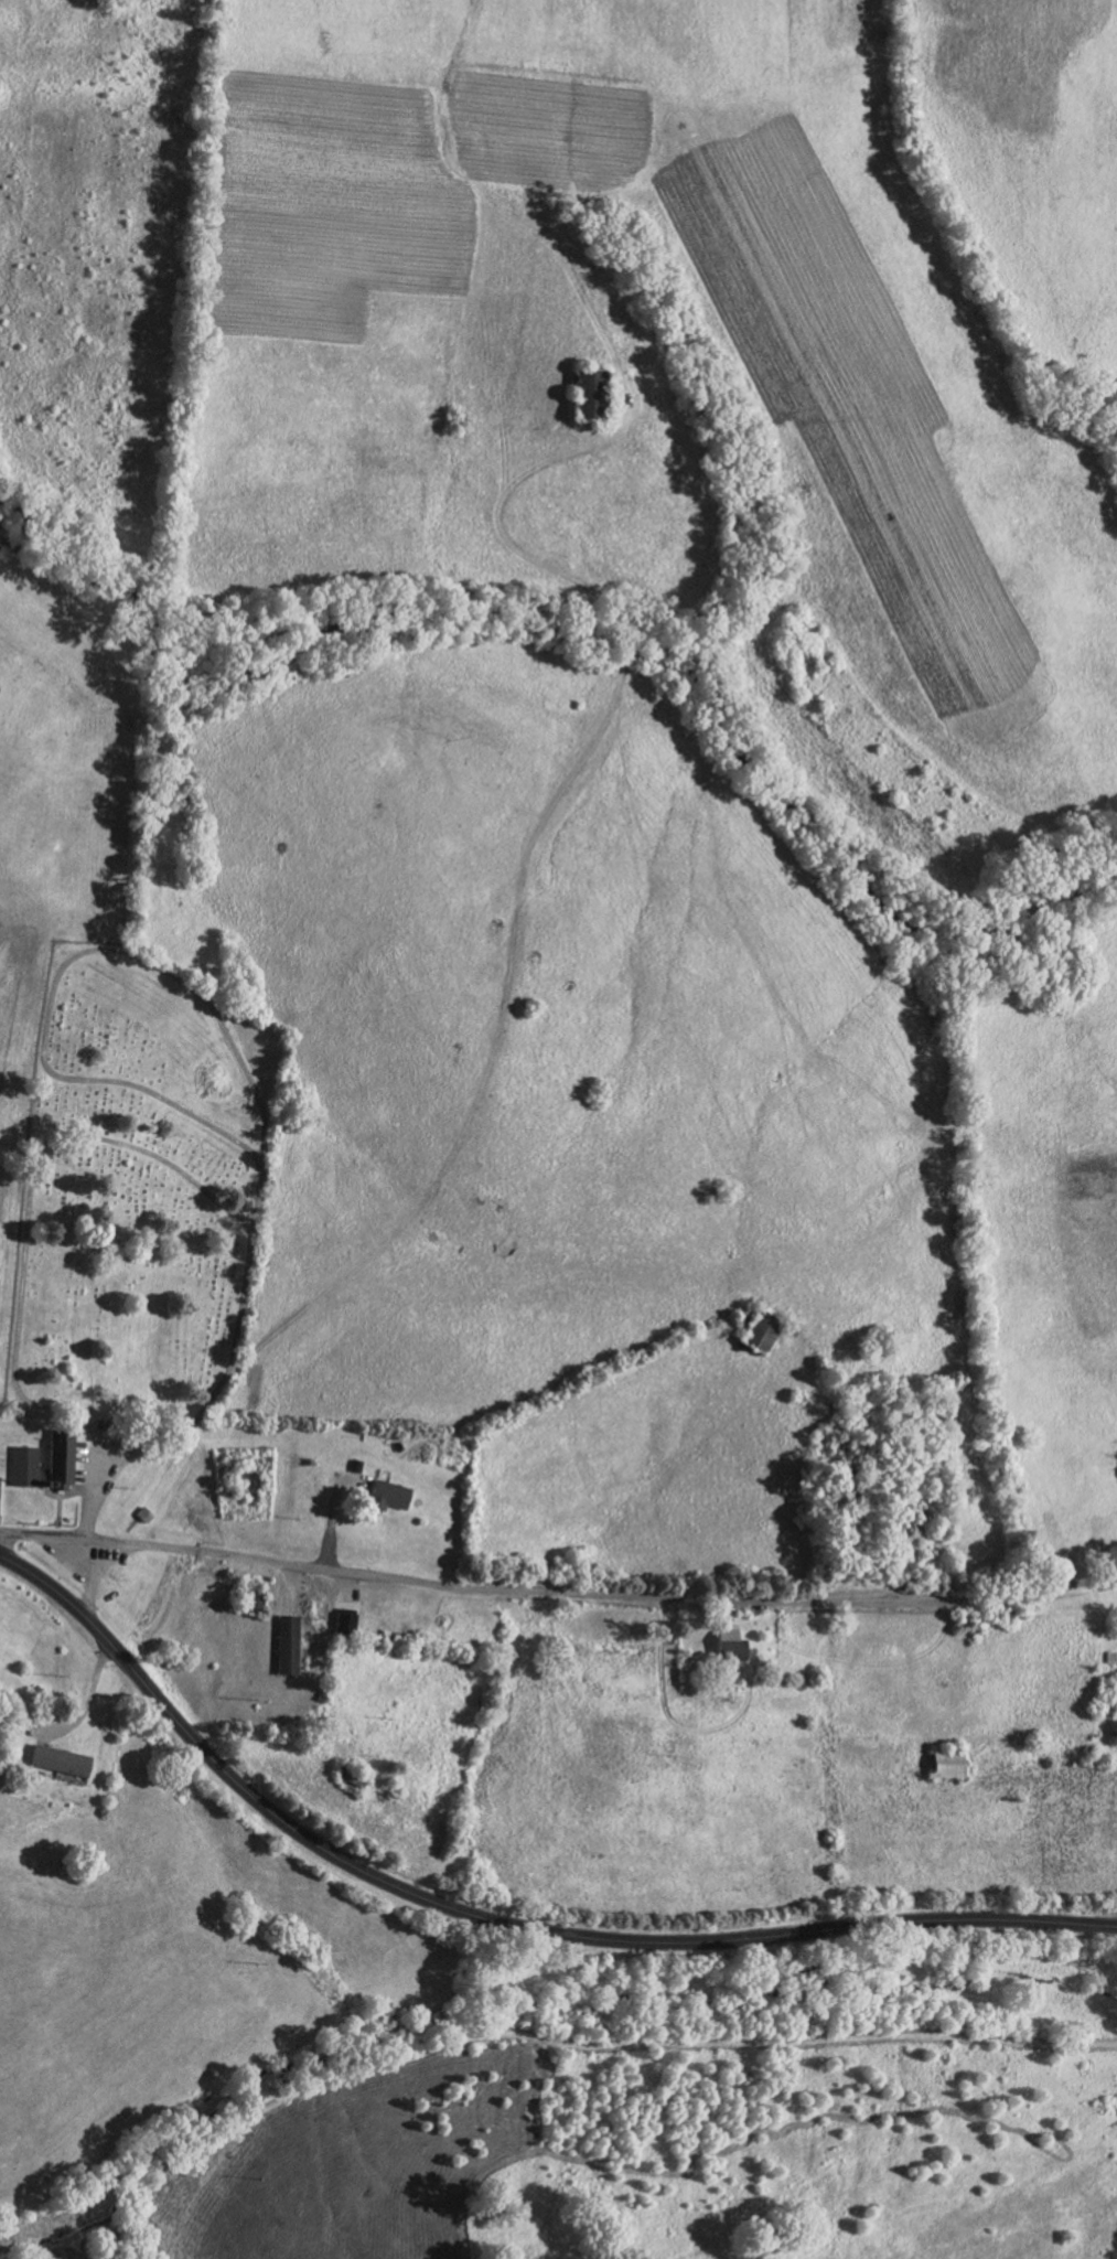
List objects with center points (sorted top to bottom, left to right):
building: (598, 393)
park: (140, 1188)
building: (769, 1332)
building: (60, 1457)
building: (23, 1464)
building: (1, 1496)
building: (394, 1496)
road: (557, 1589)
building: (347, 1624)
building: (734, 1644)
building: (292, 1646)
building: (66, 1762)
building: (943, 1763)
road: (494, 1920)

